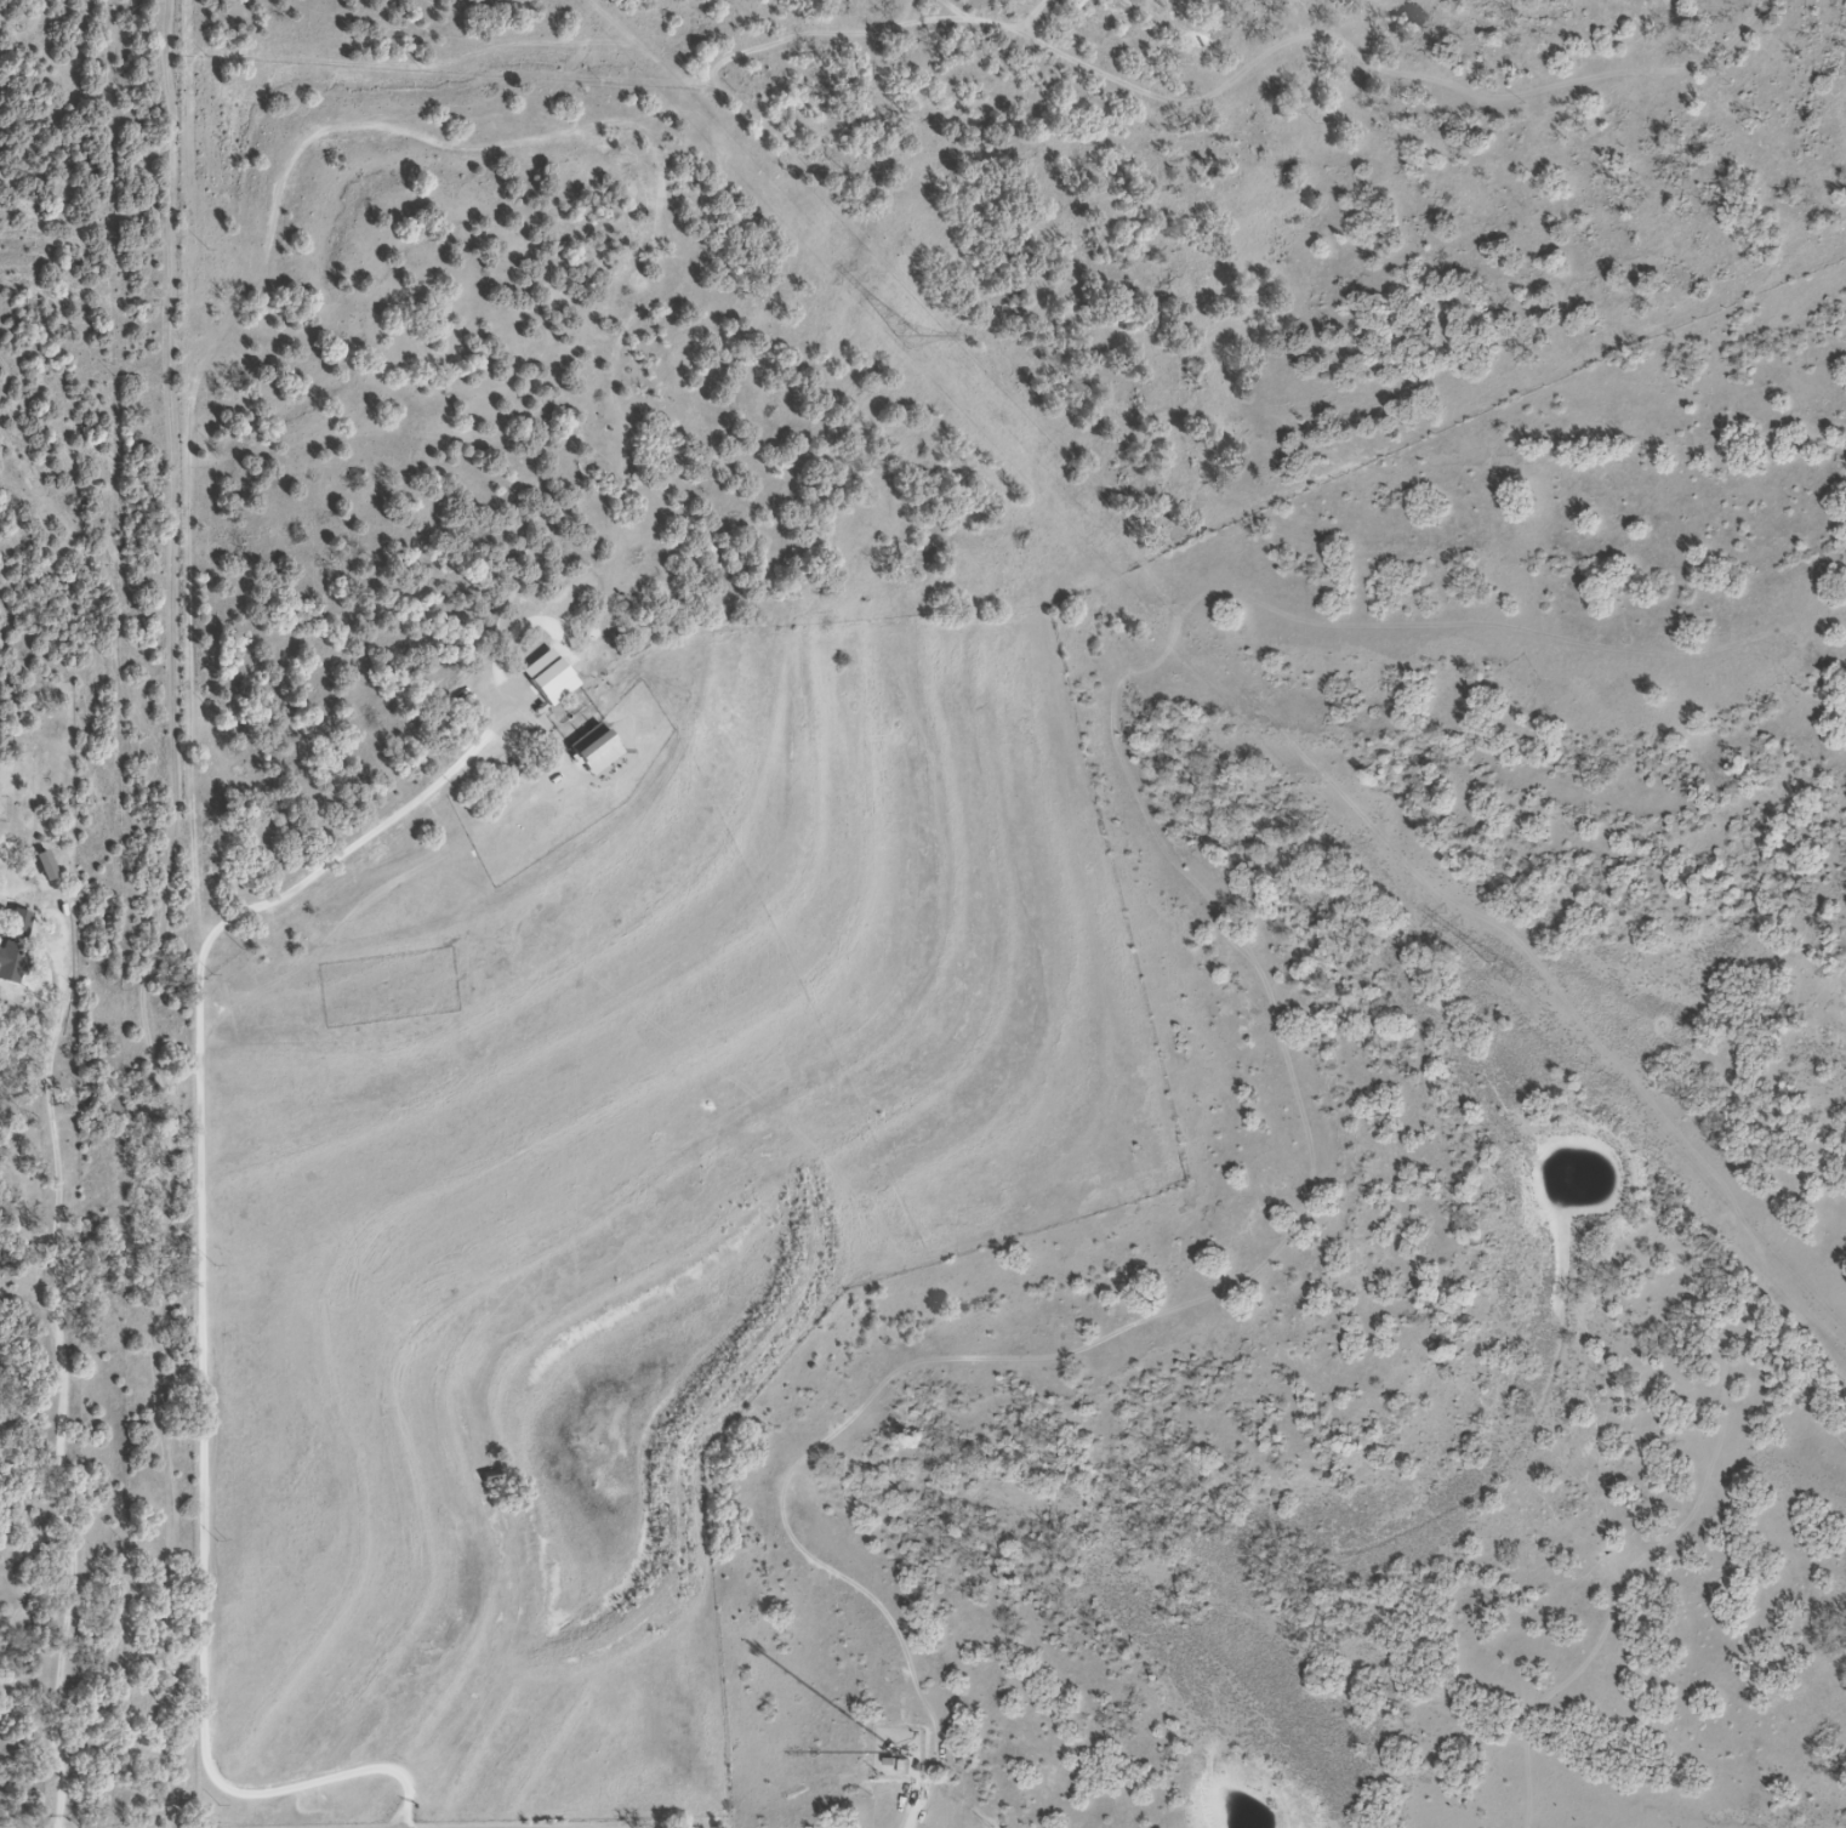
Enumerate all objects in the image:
power tower: (904, 336)
building: (594, 751)
building: (45, 867)
road: (170, 918)
building: (19, 926)
building: (12, 963)
power tower: (1505, 975)
road: (209, 1300)
road: (65, 1400)

